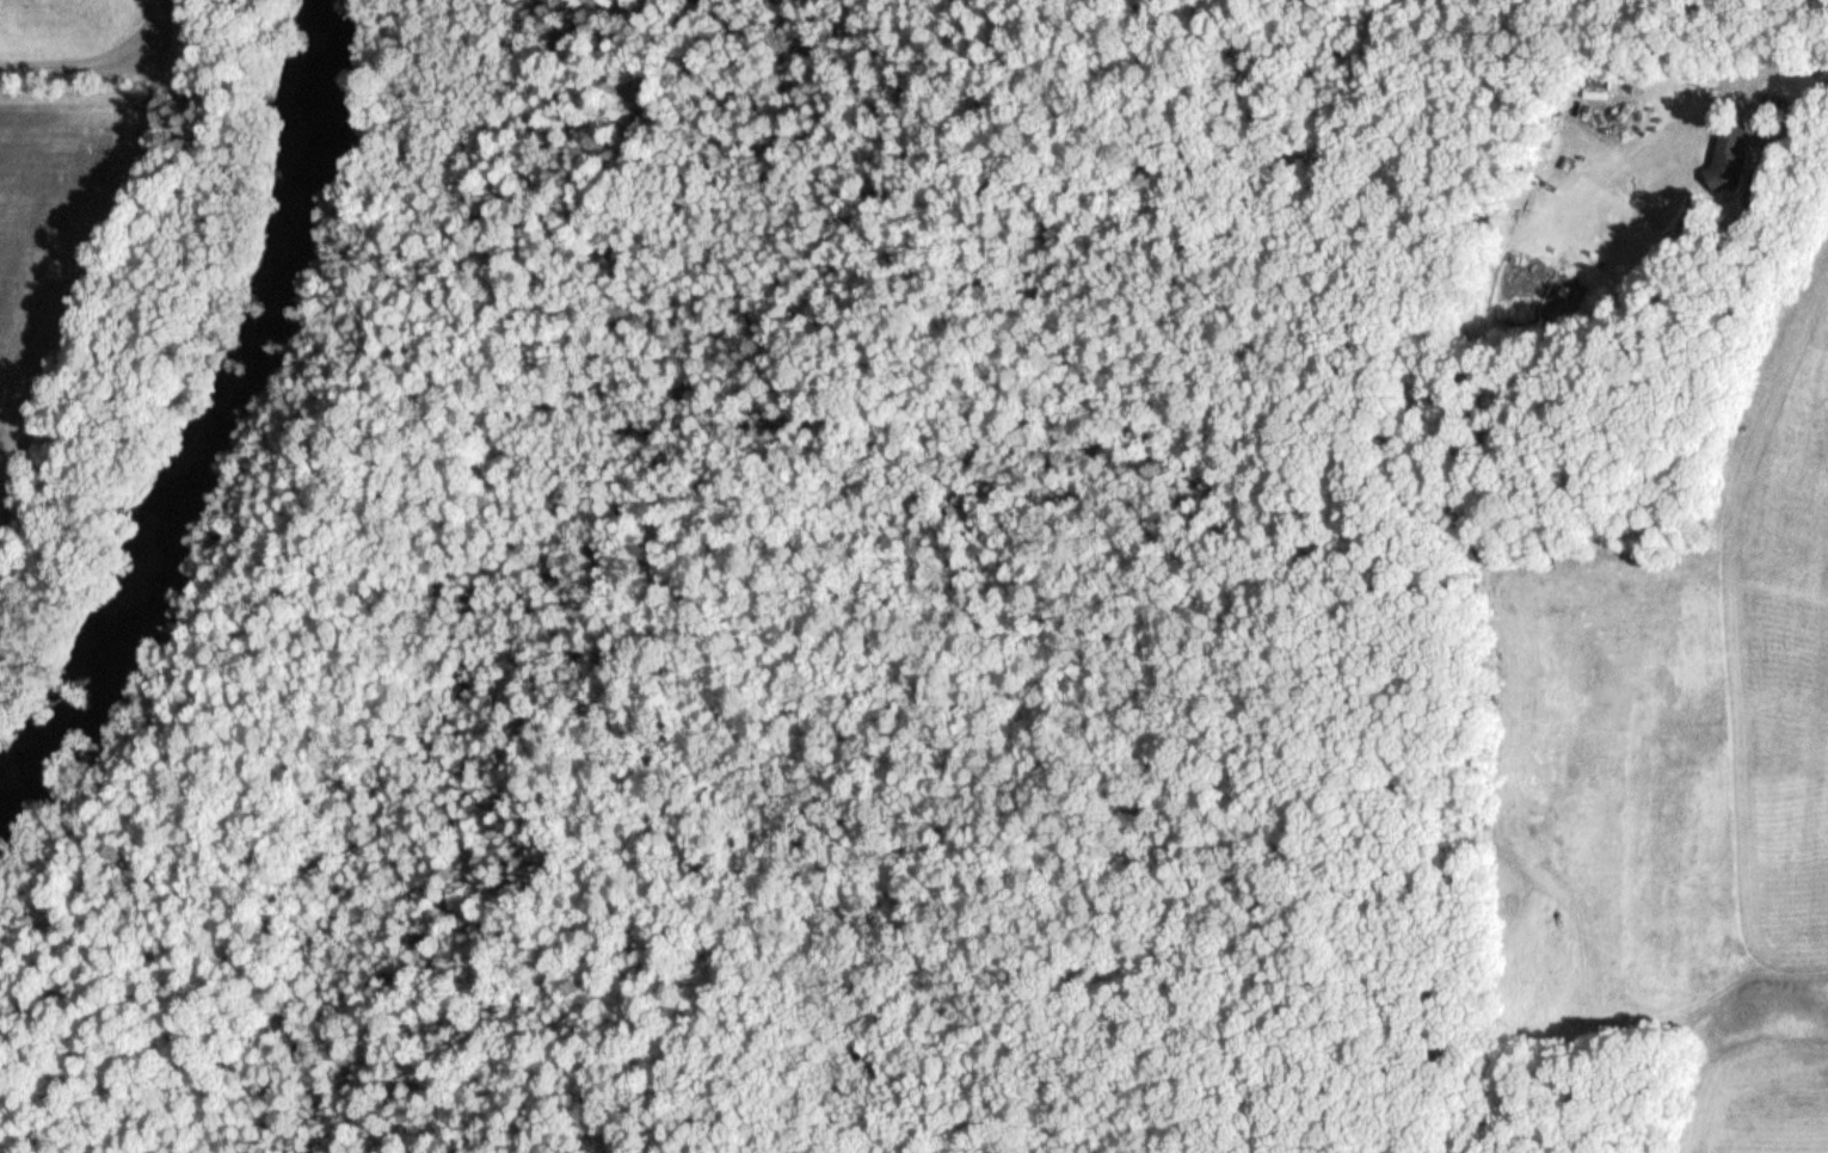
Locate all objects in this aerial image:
road: (109, 62)
road: (1805, 88)
building: (1731, 160)
river: (202, 423)

